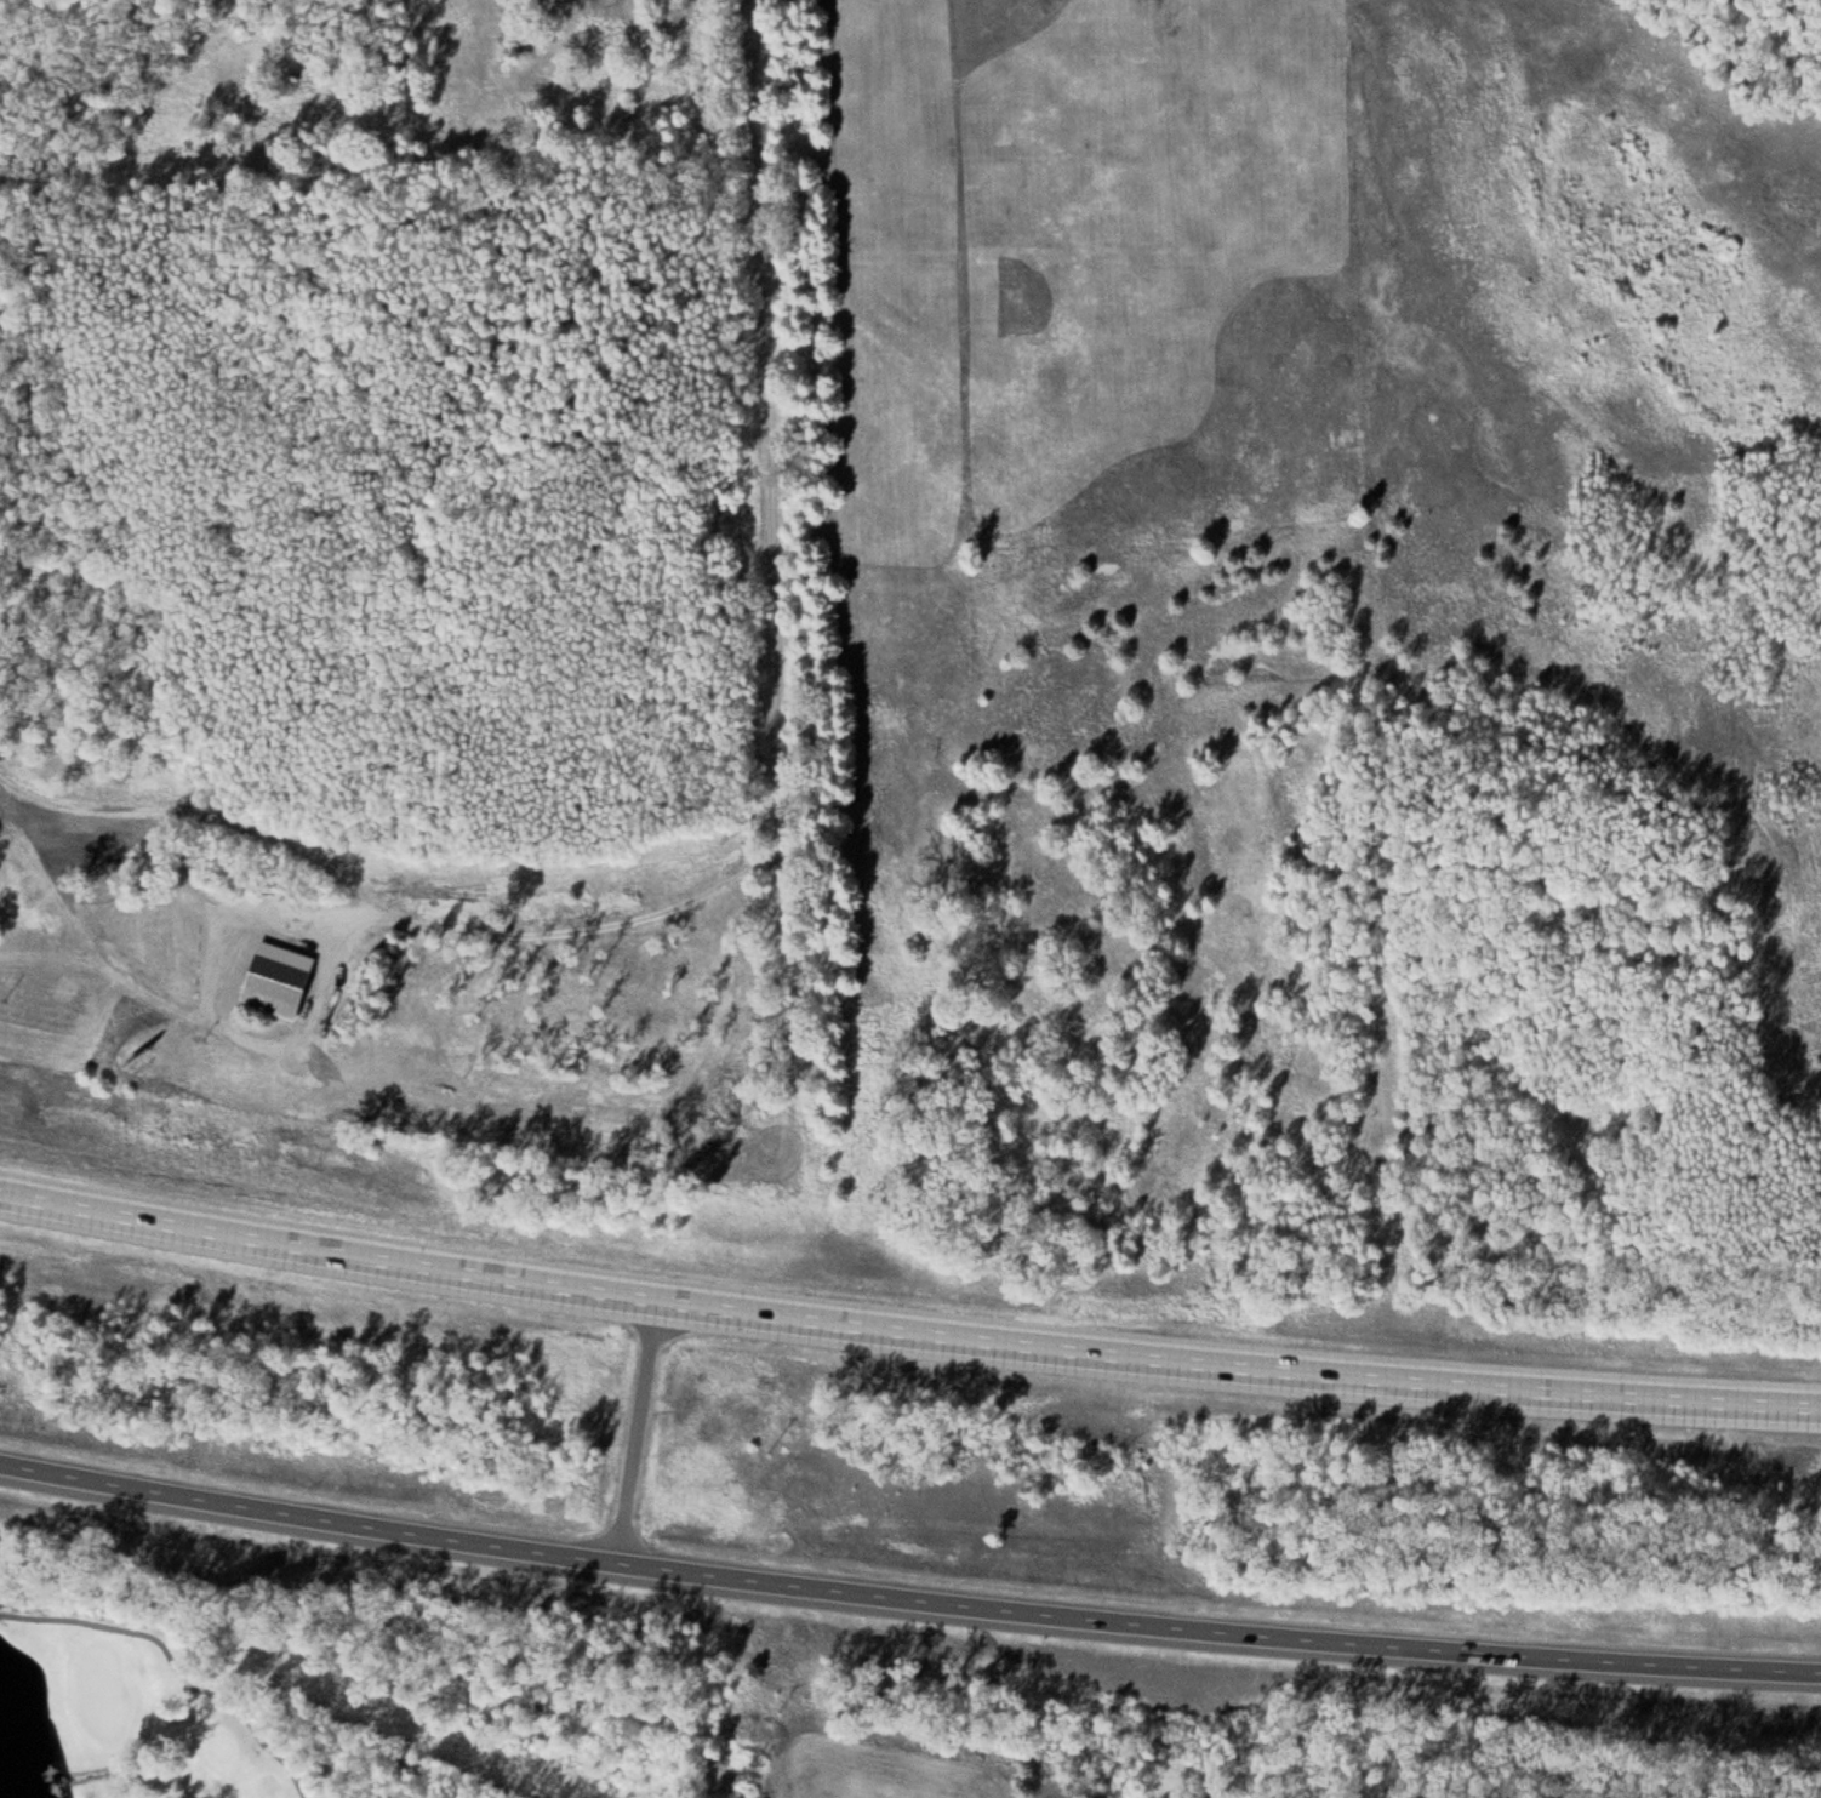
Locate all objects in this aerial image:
road: (769, 467)
road: (387, 918)
building: (276, 986)
road: (906, 1335)
road: (639, 1431)
road: (907, 1597)
park: (229, 1684)
park: (104, 1688)

